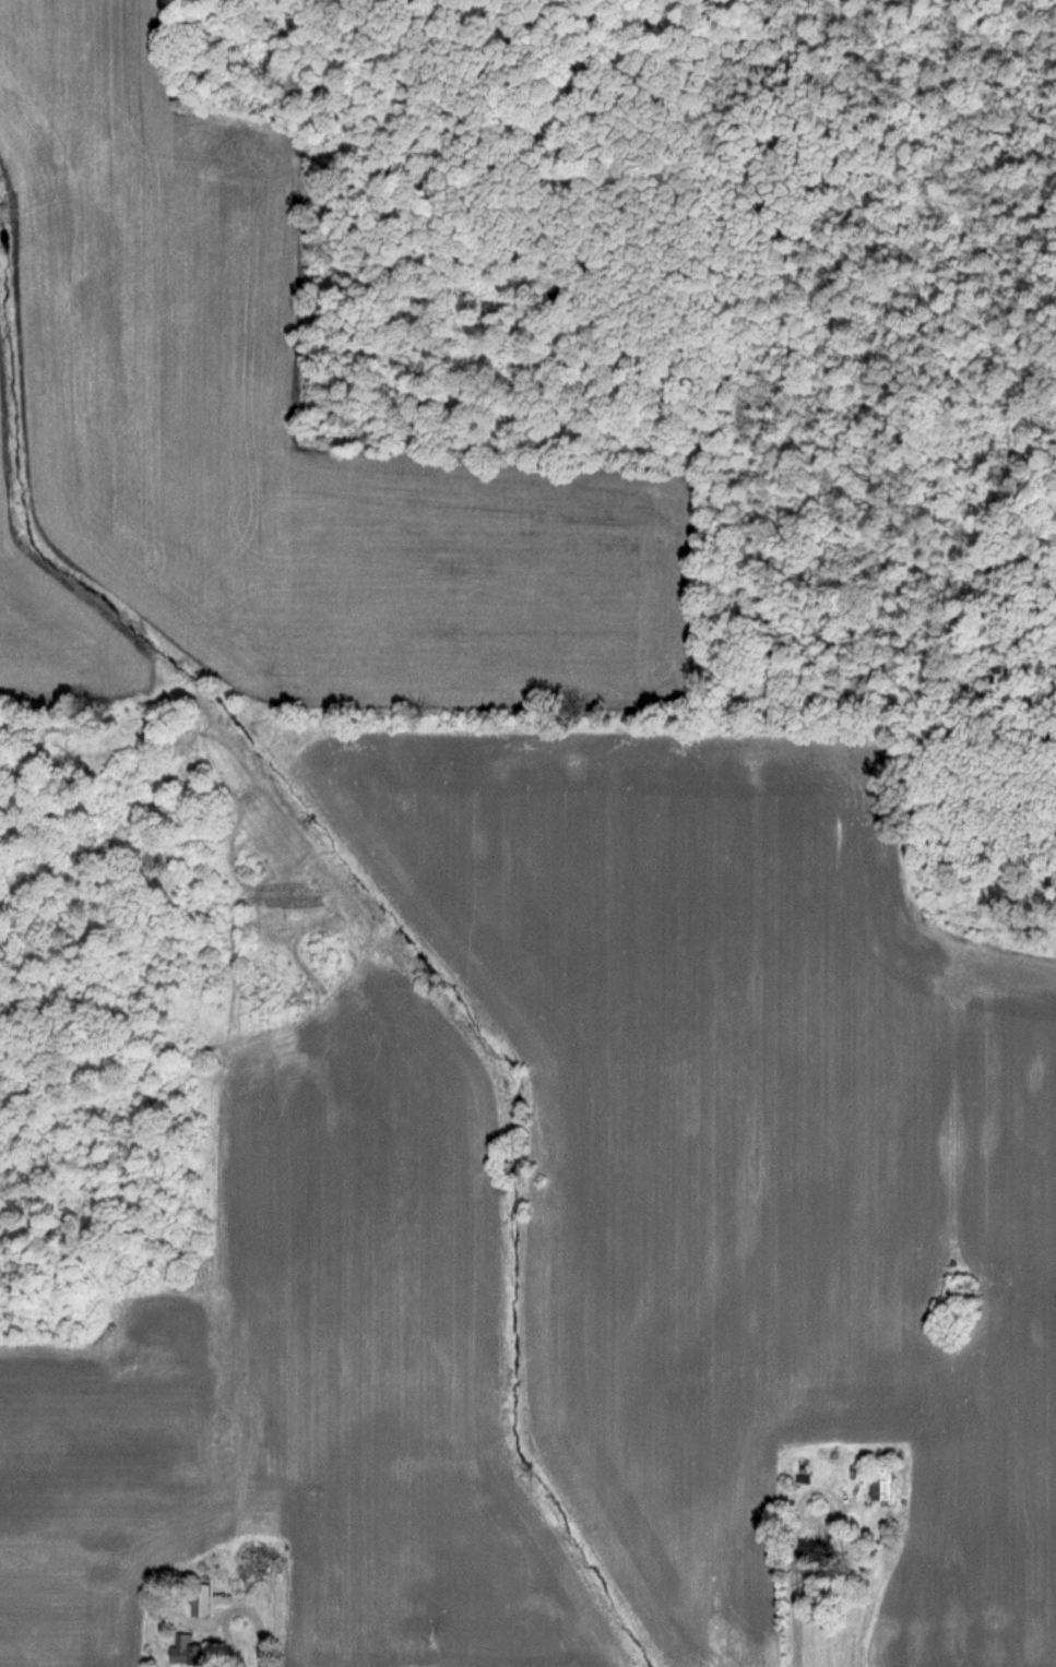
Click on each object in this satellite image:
building: (887, 1479)
building: (264, 1564)
road: (794, 1584)
building: (204, 1600)
building: (191, 1651)

